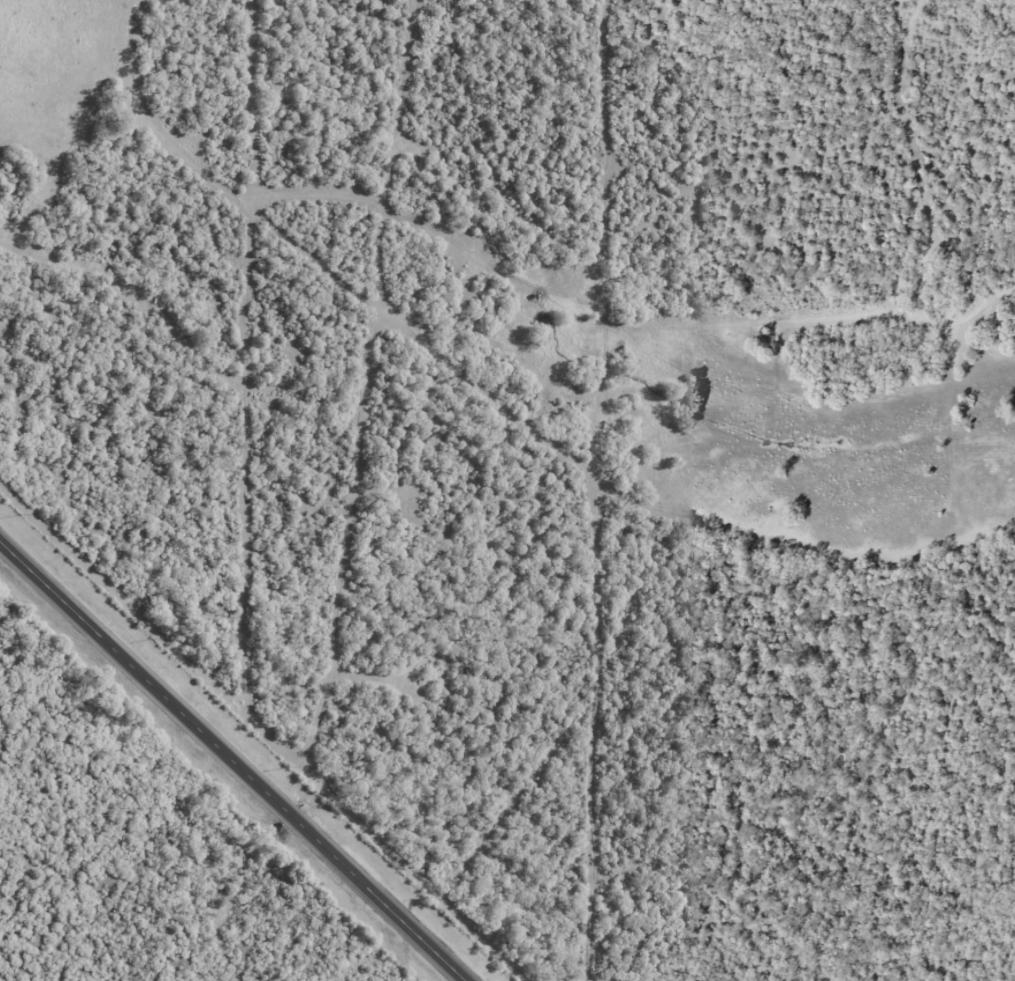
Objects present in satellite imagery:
road: (230, 763)

